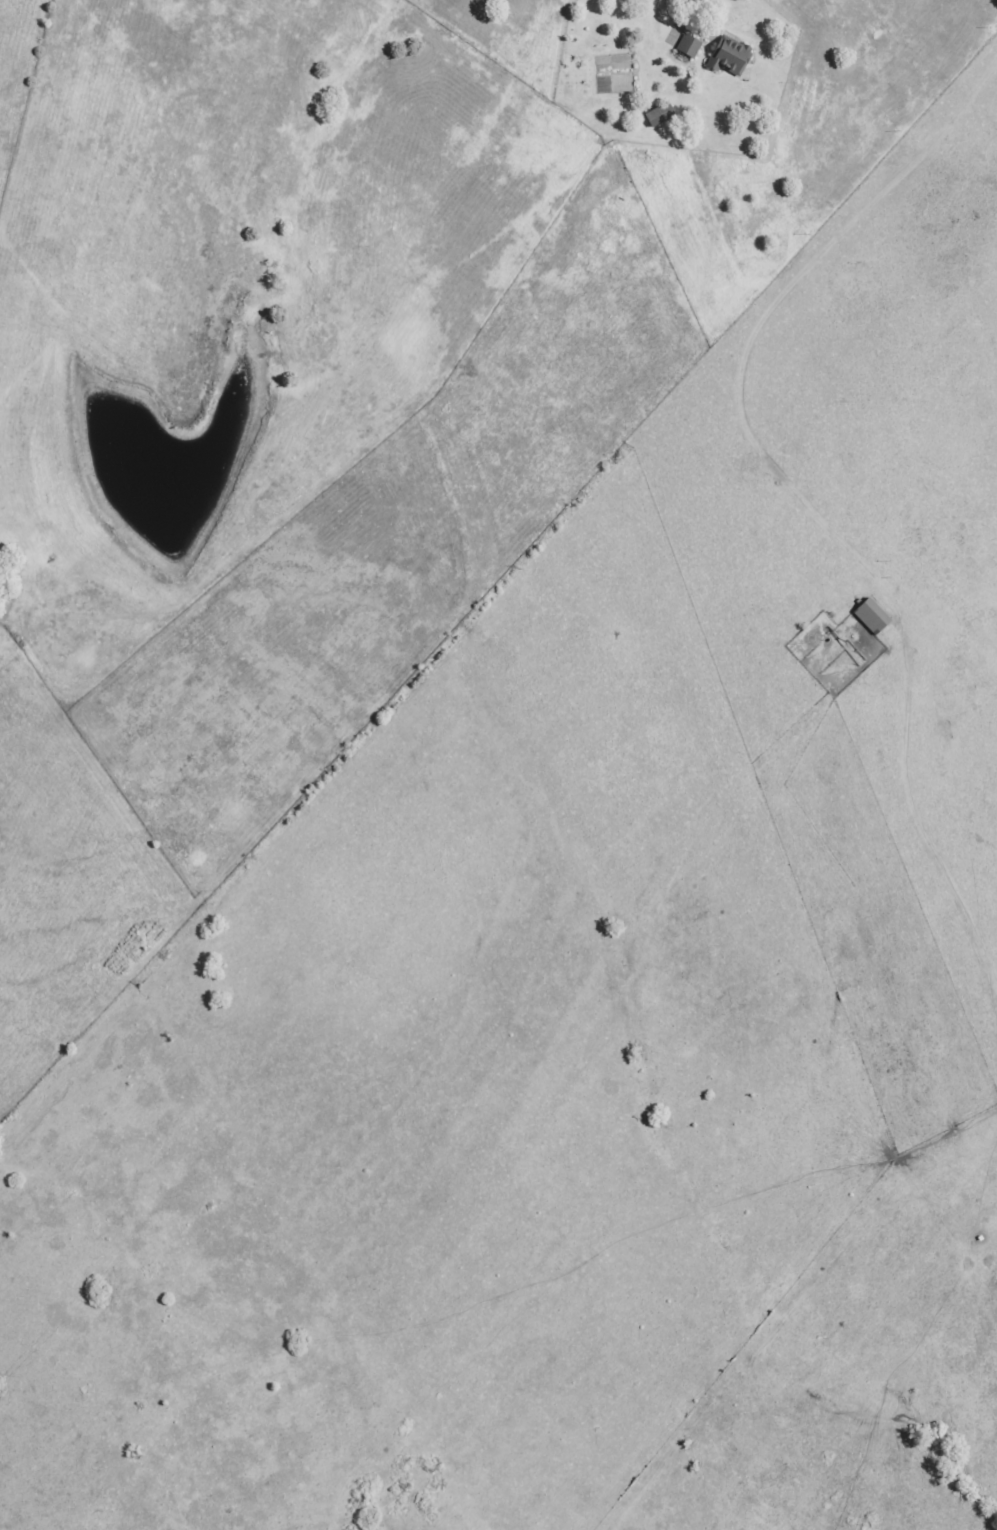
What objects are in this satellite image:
road: (661, 4)
building: (692, 45)
building: (733, 58)
building: (870, 615)

